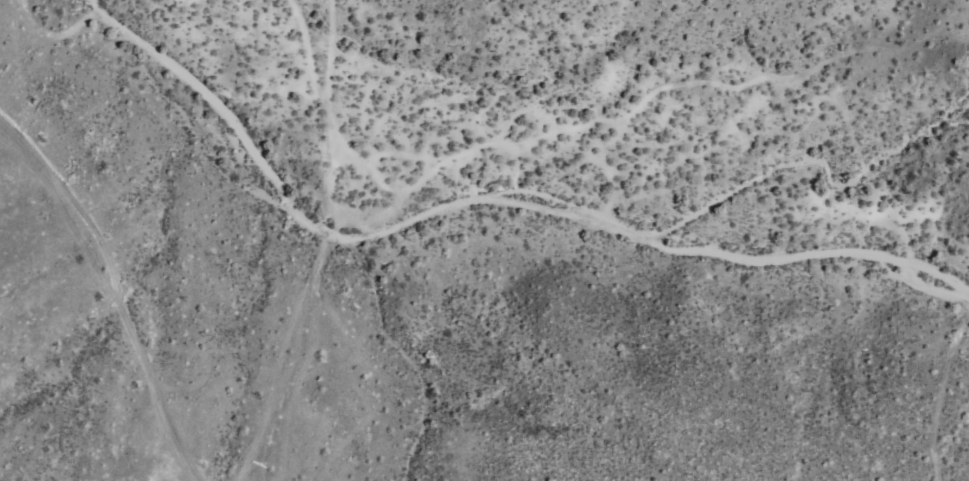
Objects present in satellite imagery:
road: (480, 203)
road: (120, 295)

